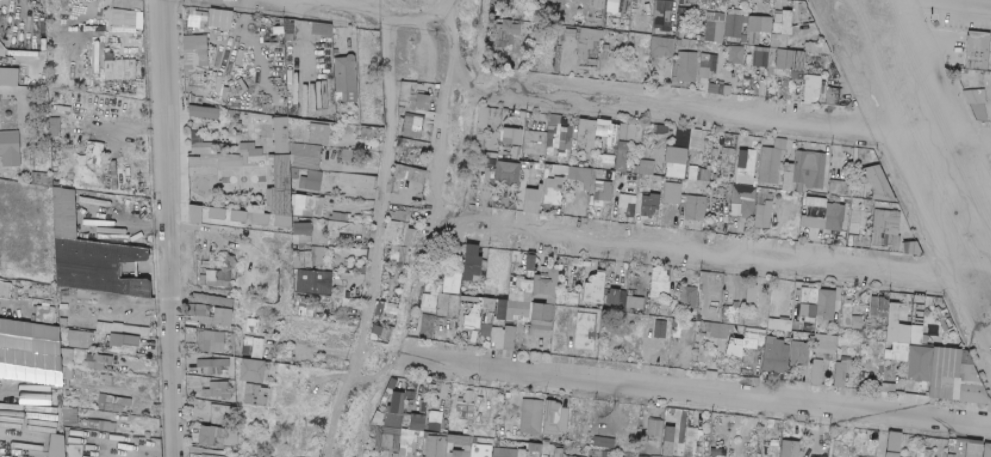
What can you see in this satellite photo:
parking lot: (960, 31)
road: (443, 108)
road: (384, 183)
road: (903, 196)
road: (170, 228)

